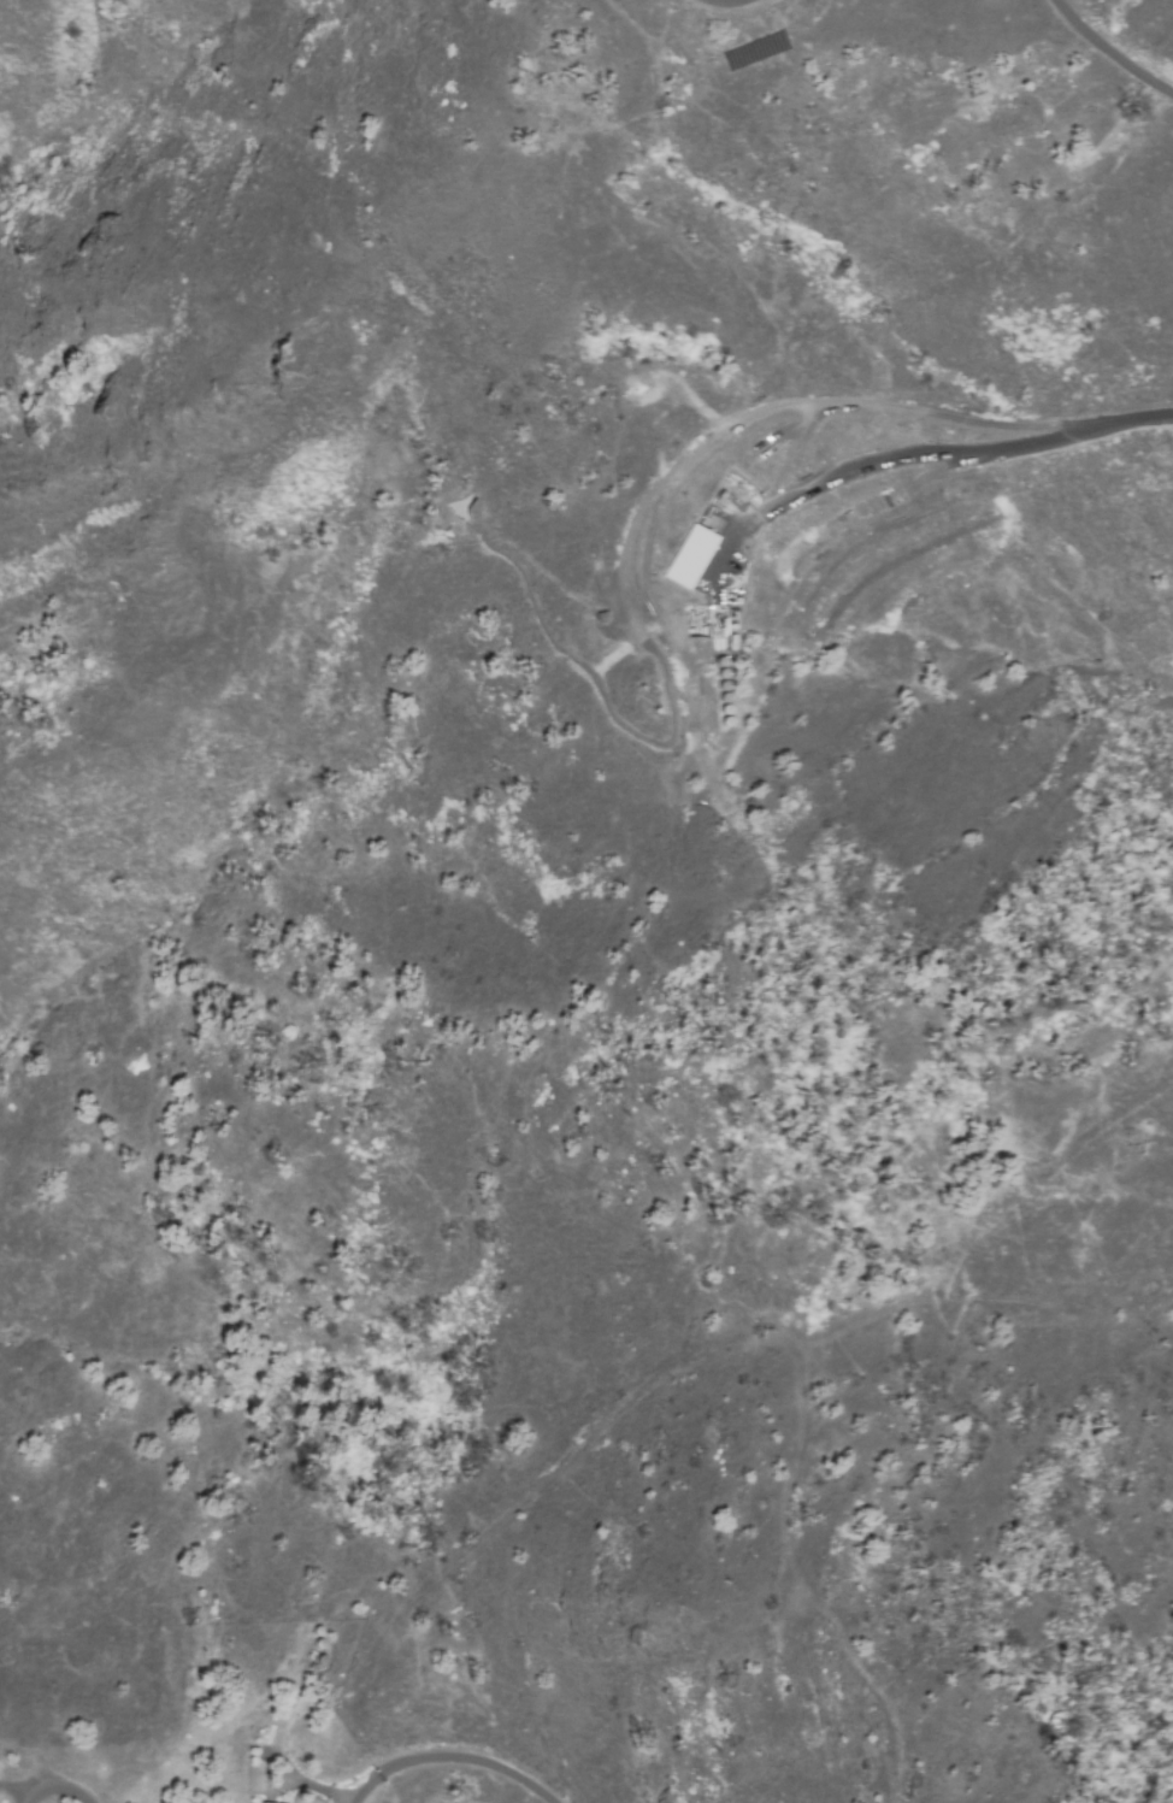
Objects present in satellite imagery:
road: (699, 2)
road: (1100, 59)
road: (951, 413)
road: (452, 1757)
road: (58, 1787)
building: (261, 1802)

